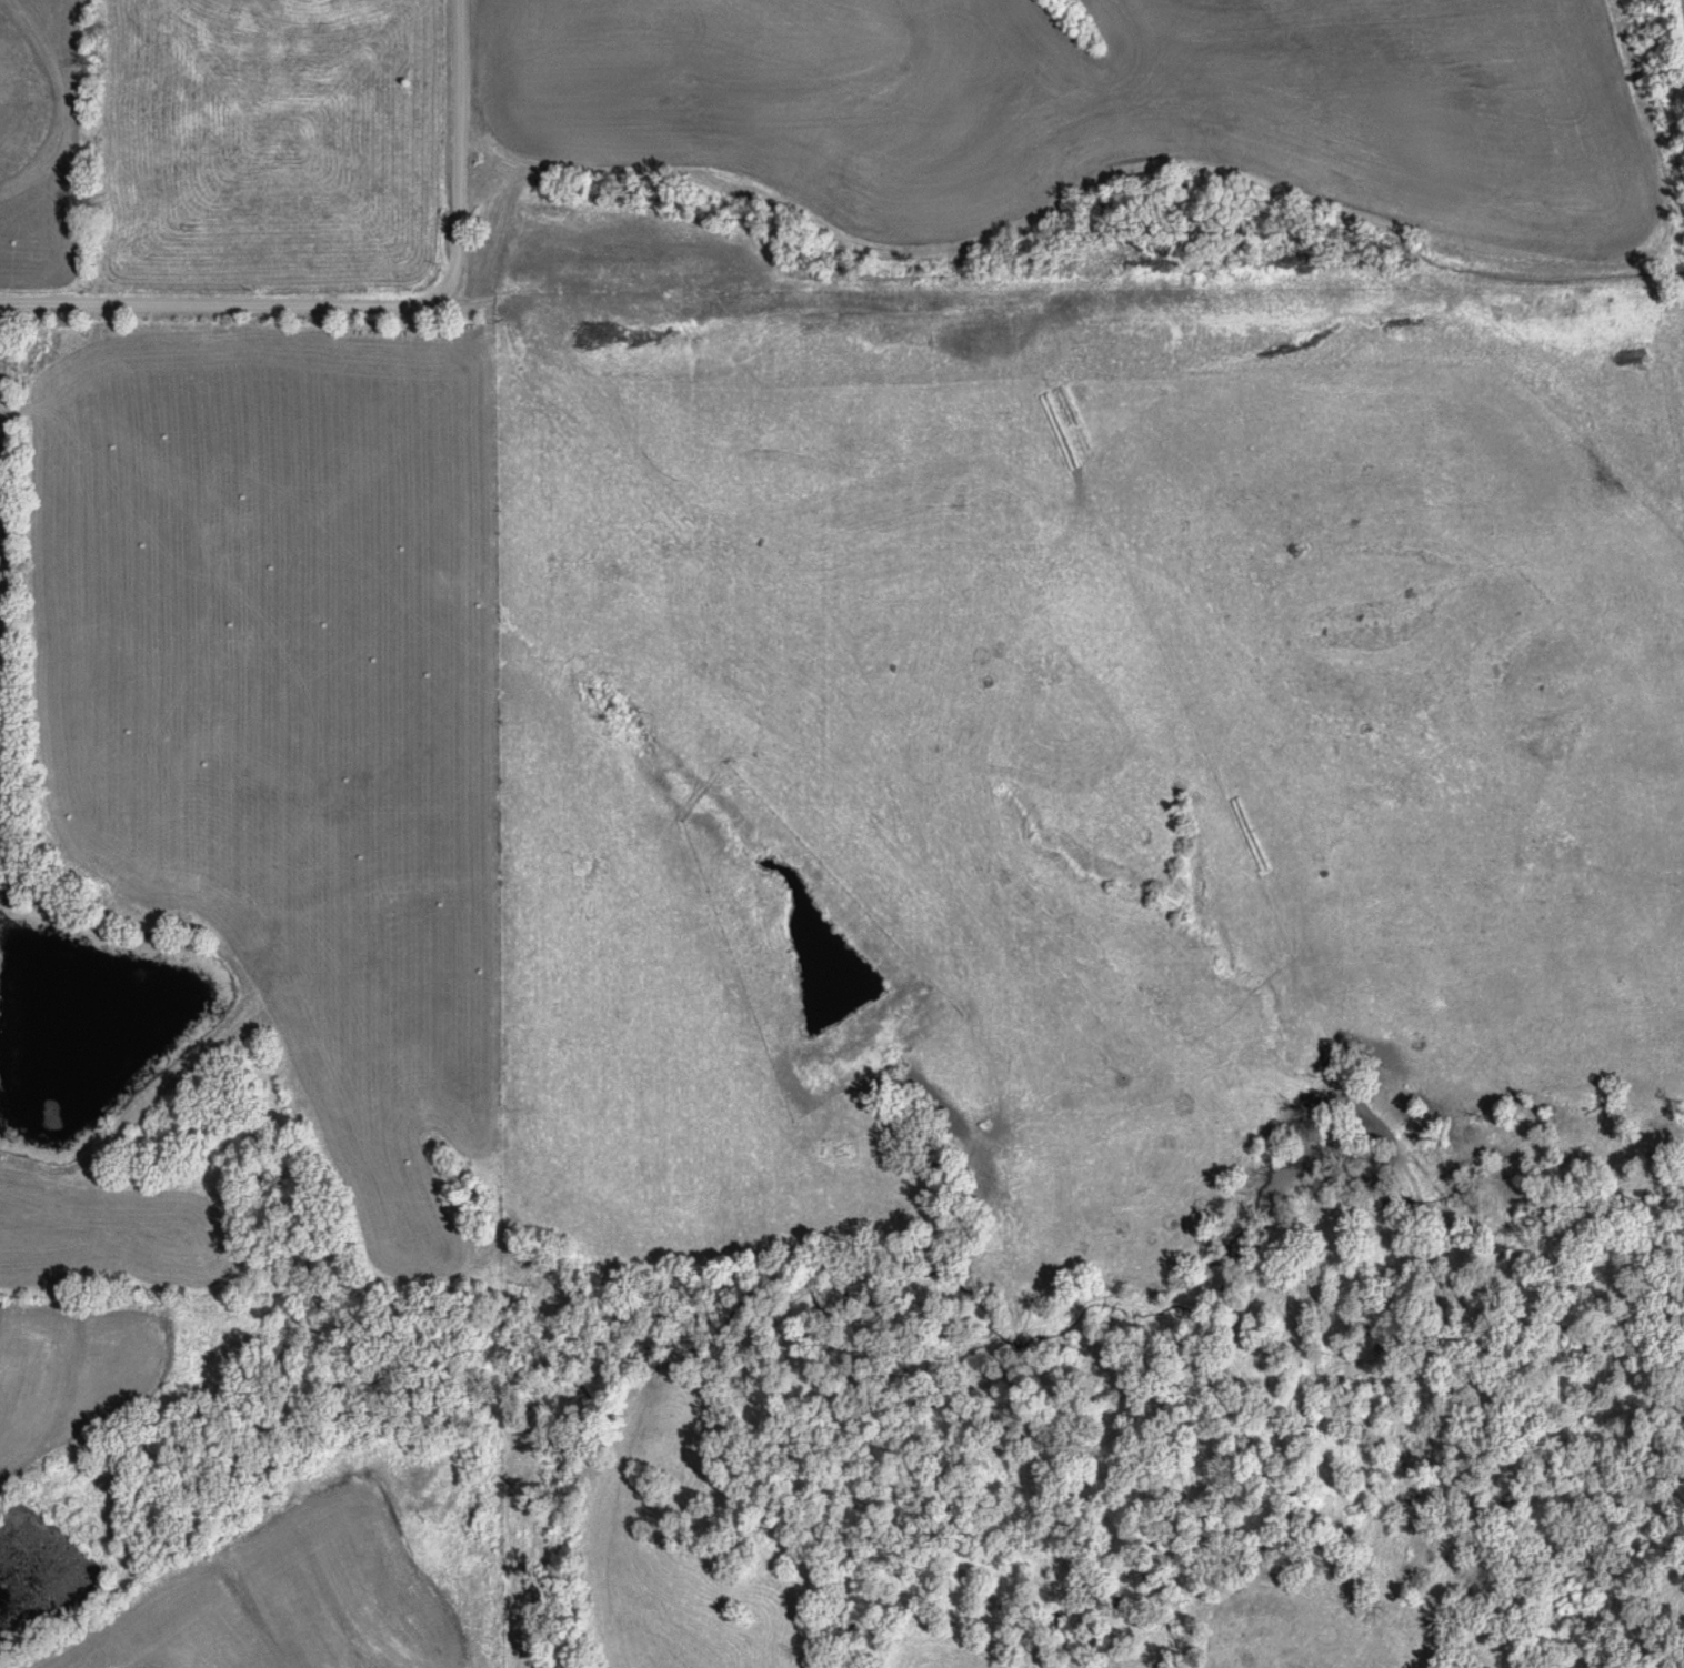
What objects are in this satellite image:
road: (459, 152)
road: (230, 303)

